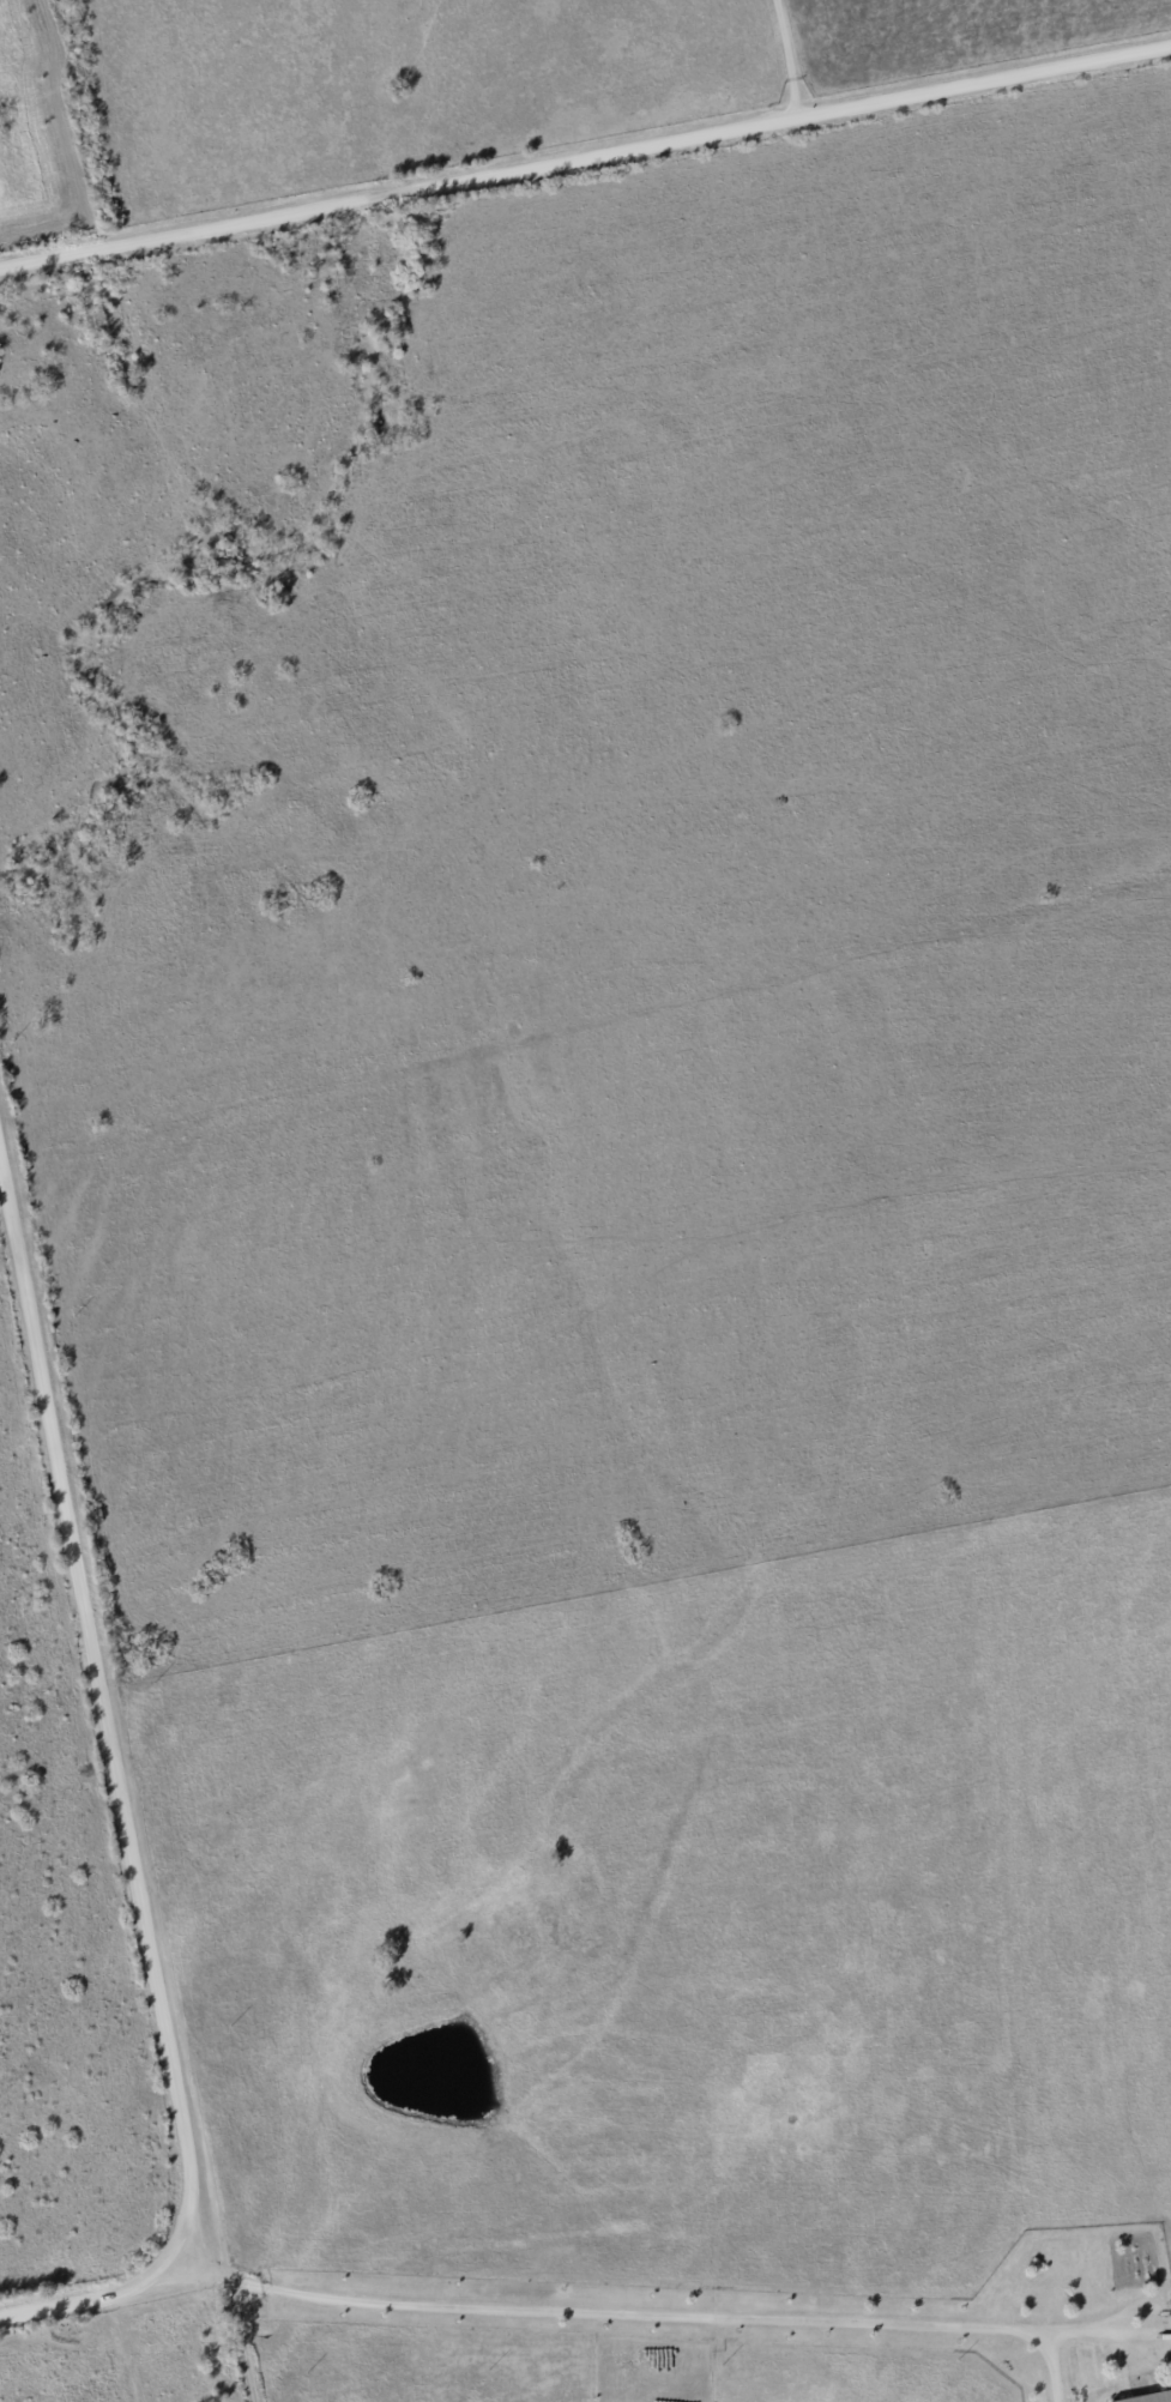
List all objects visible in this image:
road: (780, 60)
road: (585, 159)
road: (120, 1807)
road: (235, 2293)
road: (670, 2315)
building: (1148, 2397)

